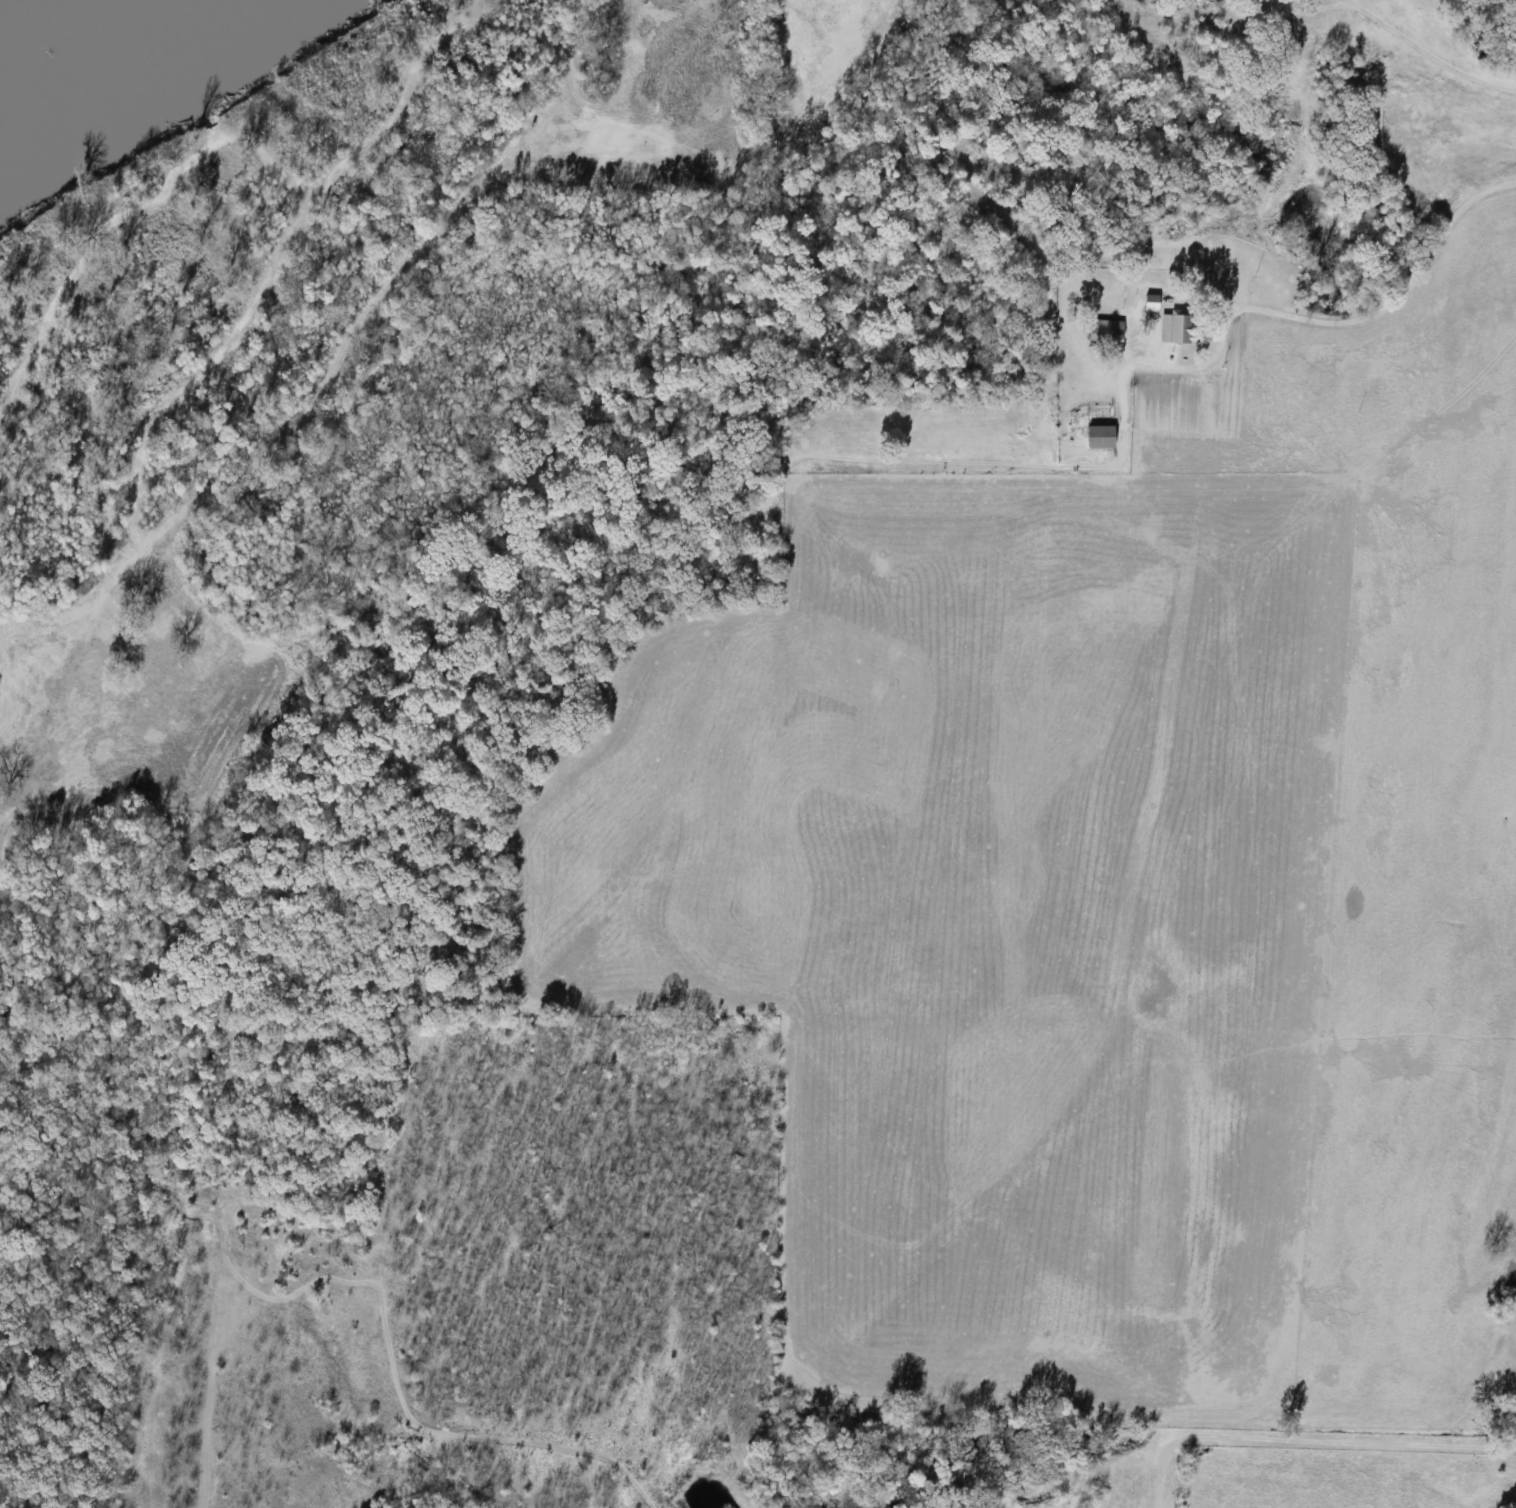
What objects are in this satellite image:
road: (1423, 51)
building: (1147, 304)
road: (1396, 307)
building: (1173, 329)
building: (1102, 332)
building: (1097, 439)
road: (1312, 1444)

